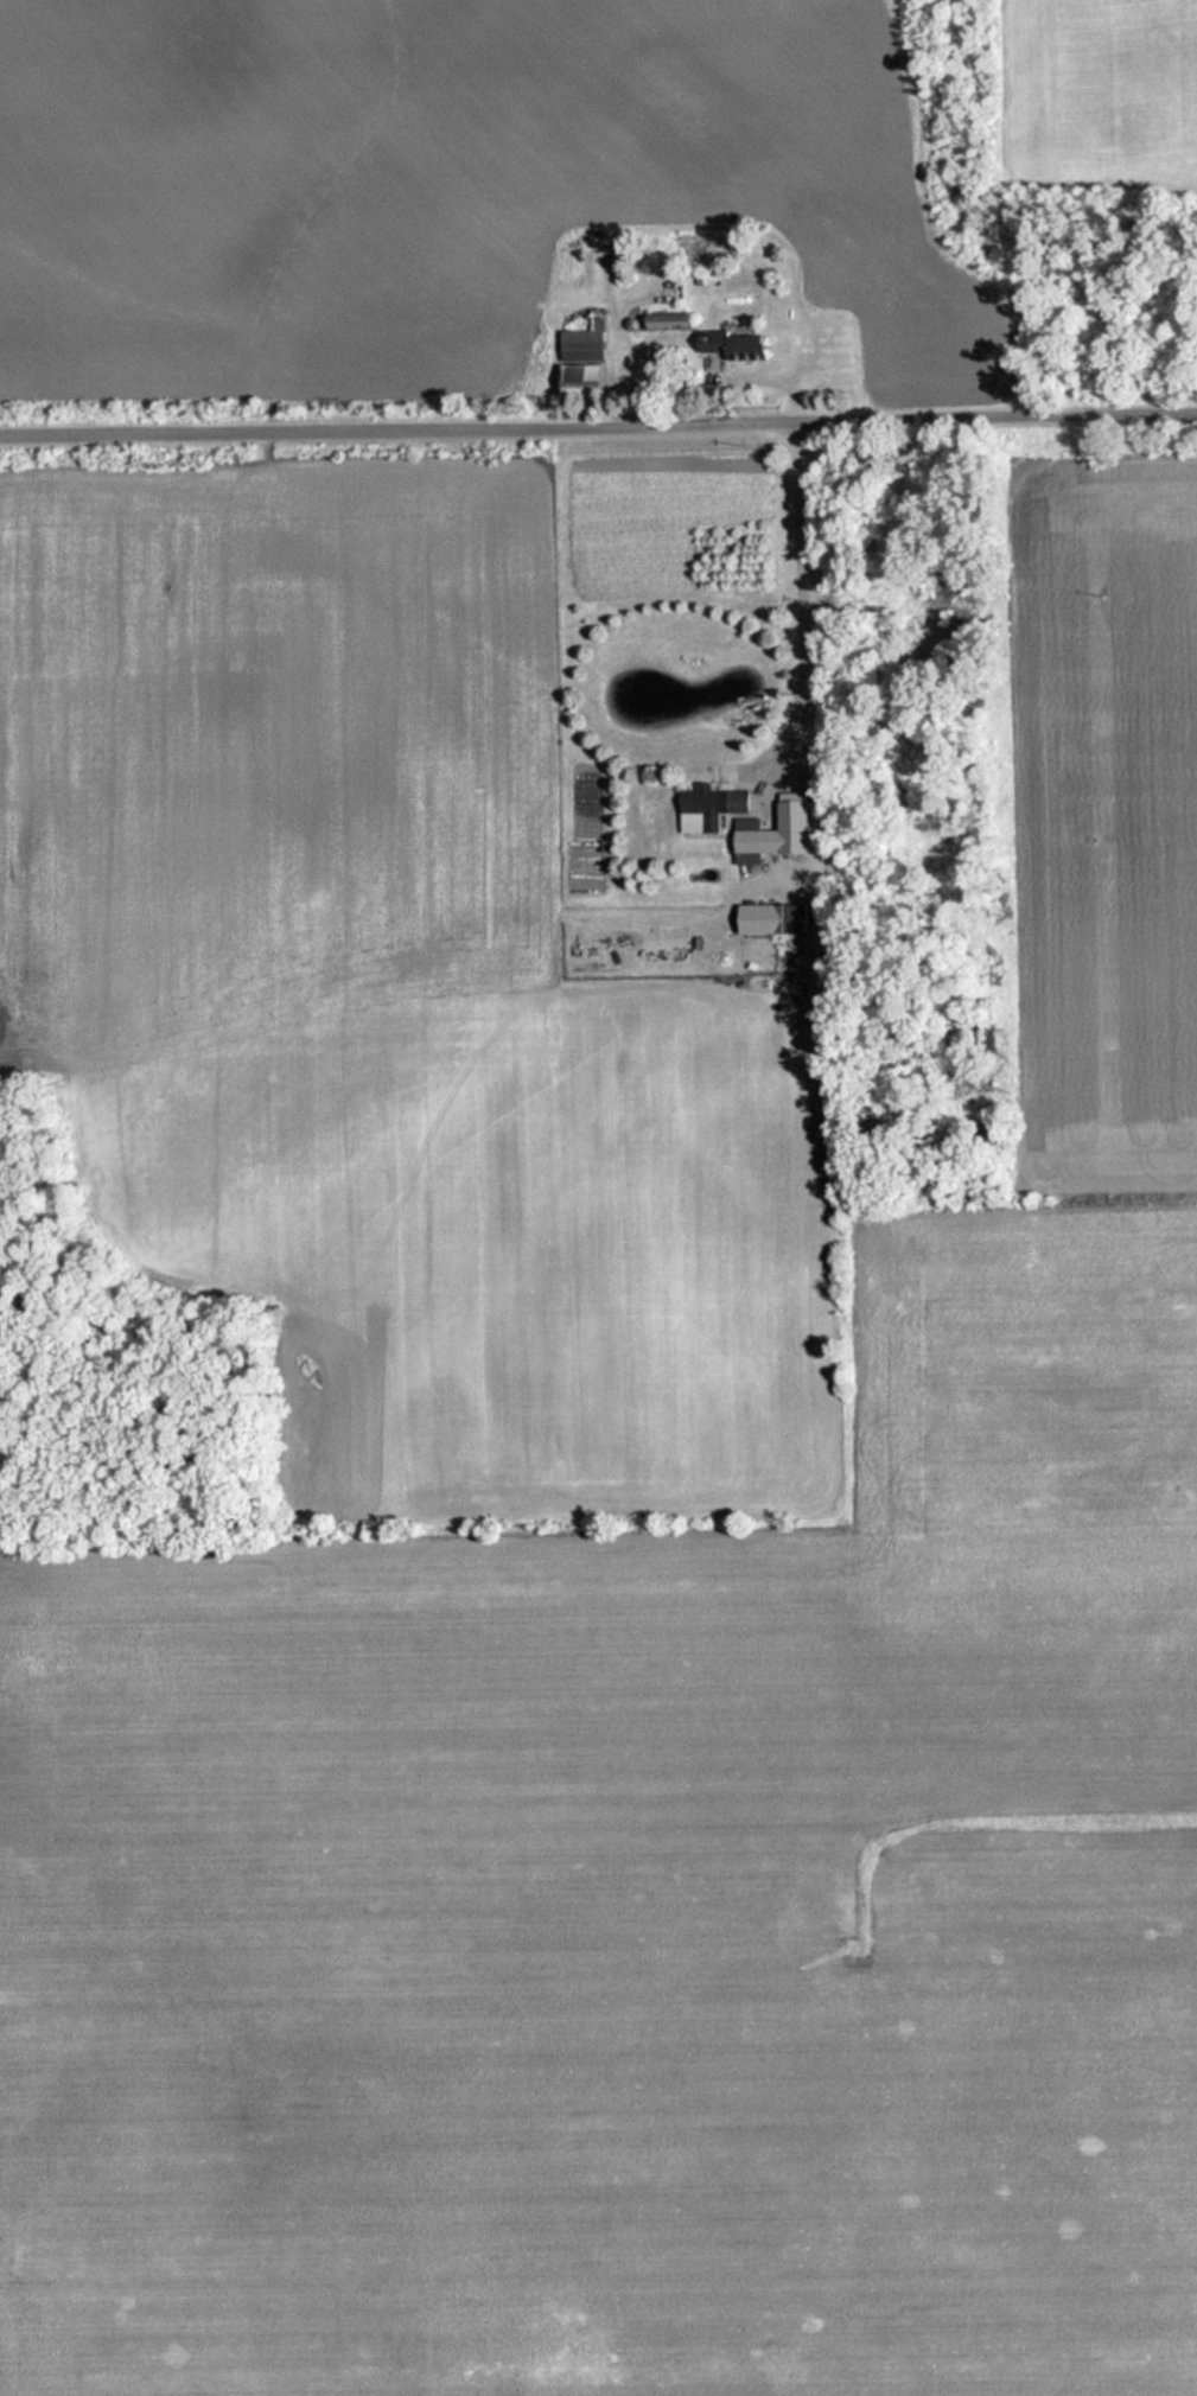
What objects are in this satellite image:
building: (591, 342)
building: (744, 344)
building: (590, 381)
road: (598, 436)
building: (151, 491)
building: (714, 808)
building: (751, 841)
building: (792, 919)

